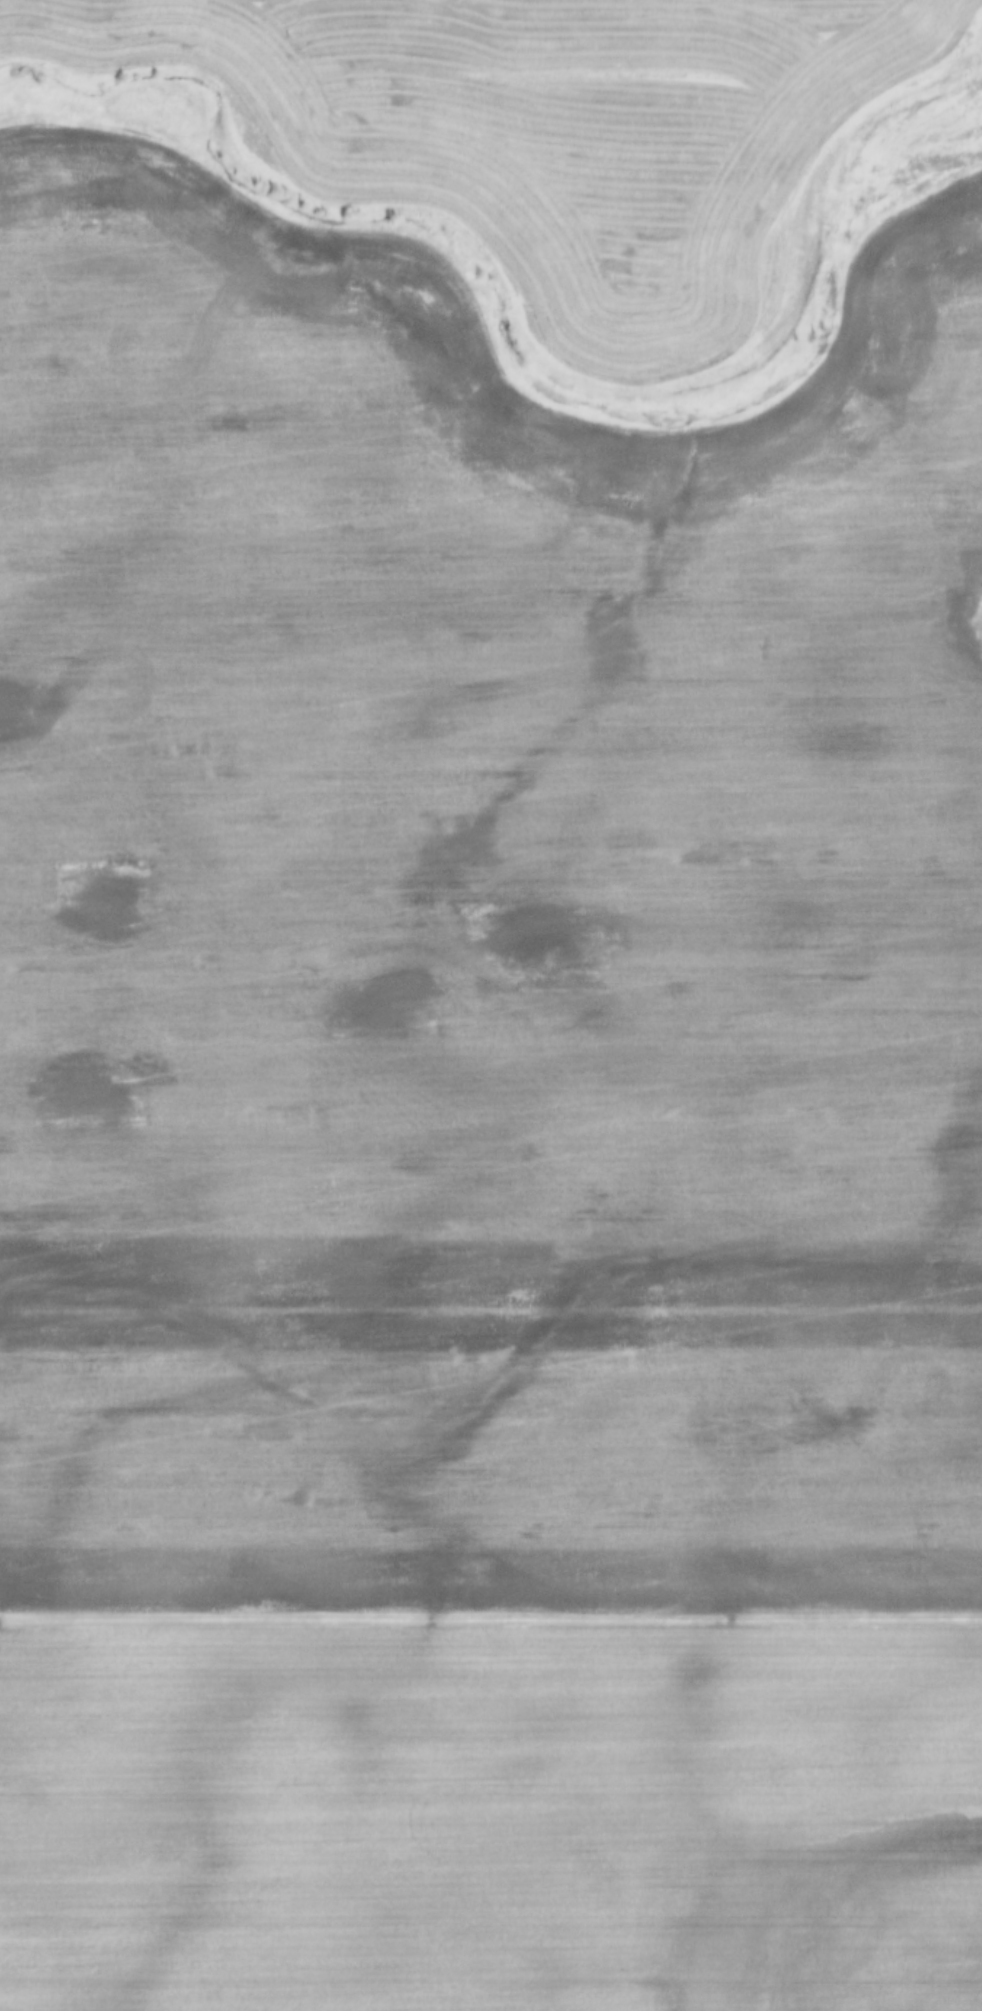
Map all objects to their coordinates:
road: (491, 1621)

